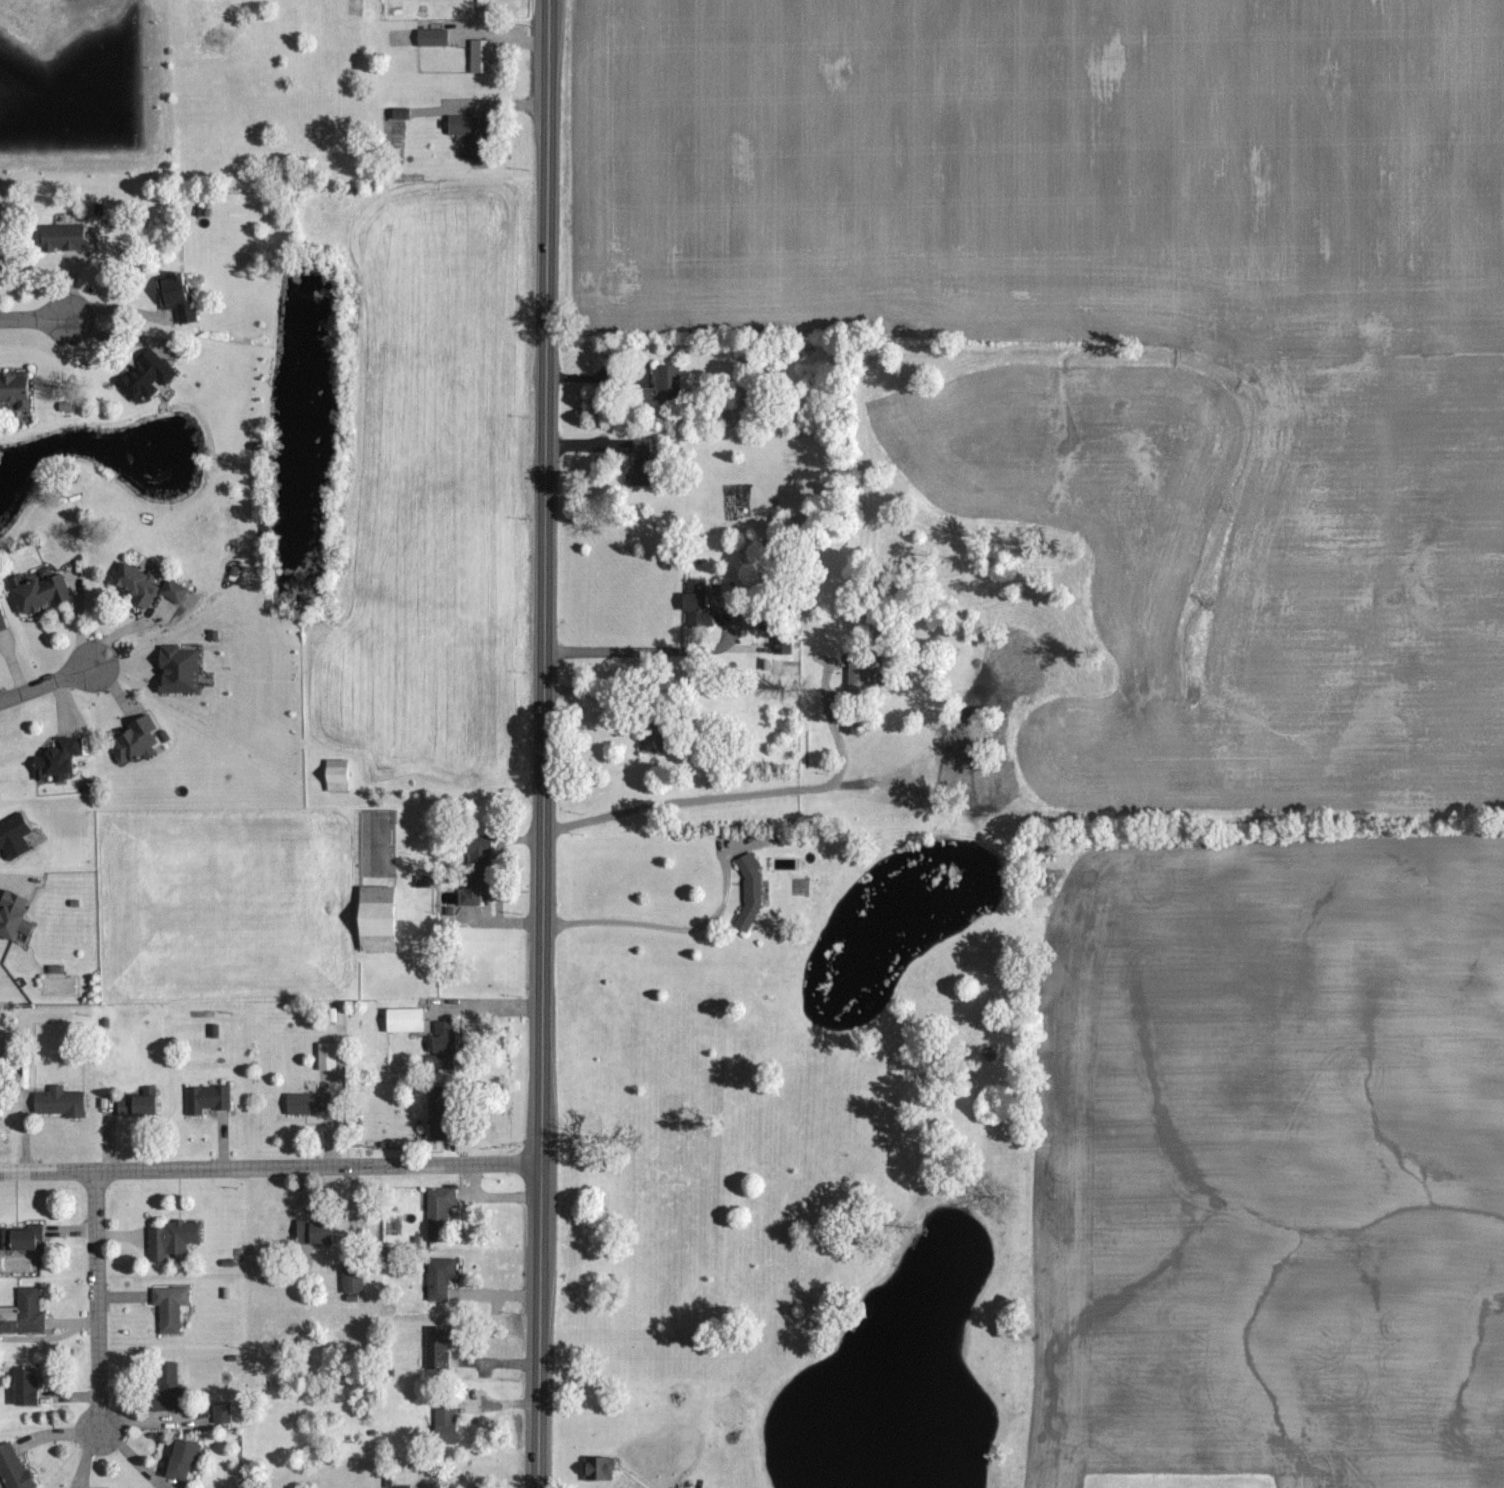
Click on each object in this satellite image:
building: (430, 36)
building: (479, 54)
building: (399, 113)
building: (467, 131)
building: (61, 235)
building: (173, 295)
road: (34, 319)
building: (144, 375)
road: (630, 375)
building: (662, 384)
building: (14, 389)
building: (638, 463)
building: (134, 584)
building: (37, 589)
building: (172, 590)
building: (694, 601)
building: (1, 623)
building: (783, 643)
road: (645, 649)
building: (176, 669)
road: (47, 683)
building: (650, 735)
building: (132, 740)
road: (544, 744)
building: (54, 757)
building: (334, 774)
road: (750, 792)
building: (12, 835)
building: (474, 869)
building: (421, 881)
building: (748, 891)
building: (372, 918)
road: (658, 923)
building: (401, 1020)
building: (441, 1045)
building: (324, 1056)
building: (205, 1098)
building: (58, 1102)
building: (305, 1103)
building: (132, 1106)
building: (436, 1113)
road: (270, 1167)
building: (311, 1232)
building: (19, 1237)
building: (170, 1239)
building: (438, 1278)
building: (350, 1280)
road: (97, 1300)
building: (168, 1307)
building: (22, 1313)
building: (436, 1346)
building: (23, 1385)
building: (165, 1387)
building: (221, 1412)
building: (443, 1421)
building: (178, 1456)
building: (596, 1467)
building: (12, 1468)
building: (401, 1486)

